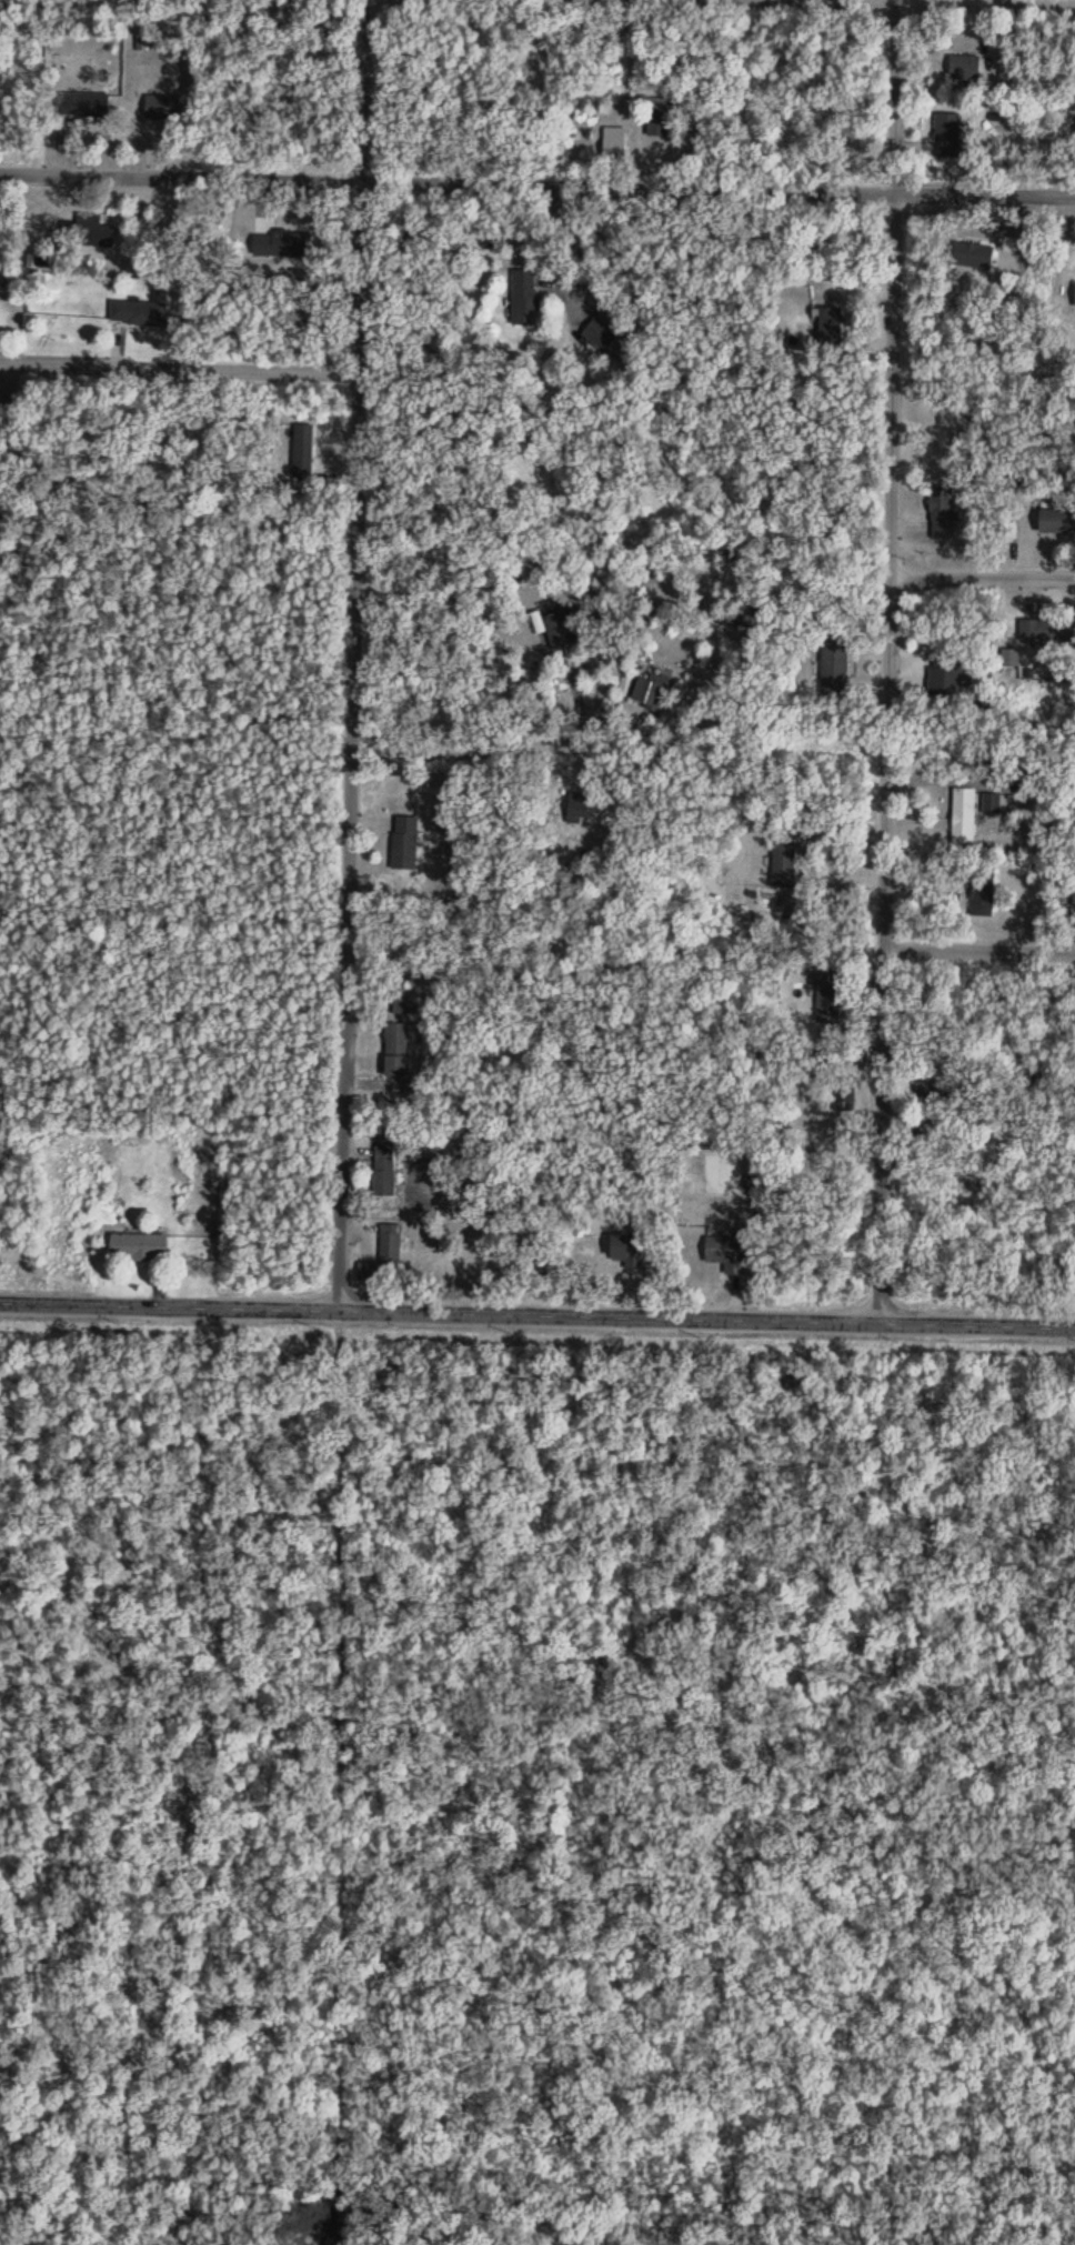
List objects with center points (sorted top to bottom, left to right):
road: (917, 4)
building: (965, 69)
building: (83, 104)
building: (162, 108)
building: (659, 118)
building: (950, 133)
building: (615, 146)
road: (445, 182)
road: (983, 191)
building: (84, 231)
building: (973, 257)
building: (525, 299)
building: (138, 313)
road: (179, 371)
building: (304, 453)
building: (942, 515)
building: (1057, 523)
road: (983, 580)
building: (559, 624)
building: (1047, 632)
road: (890, 657)
building: (834, 670)
building: (944, 679)
building: (650, 693)
road: (463, 739)
road: (346, 782)
building: (580, 810)
building: (964, 822)
building: (405, 845)
building: (783, 863)
building: (983, 894)
building: (1074, 901)
road: (978, 953)
building: (396, 1053)
building: (845, 1102)
building: (711, 1175)
building: (384, 1179)
building: (139, 1250)
building: (627, 1250)
building: (727, 1256)
building: (391, 1260)
road: (537, 1313)

